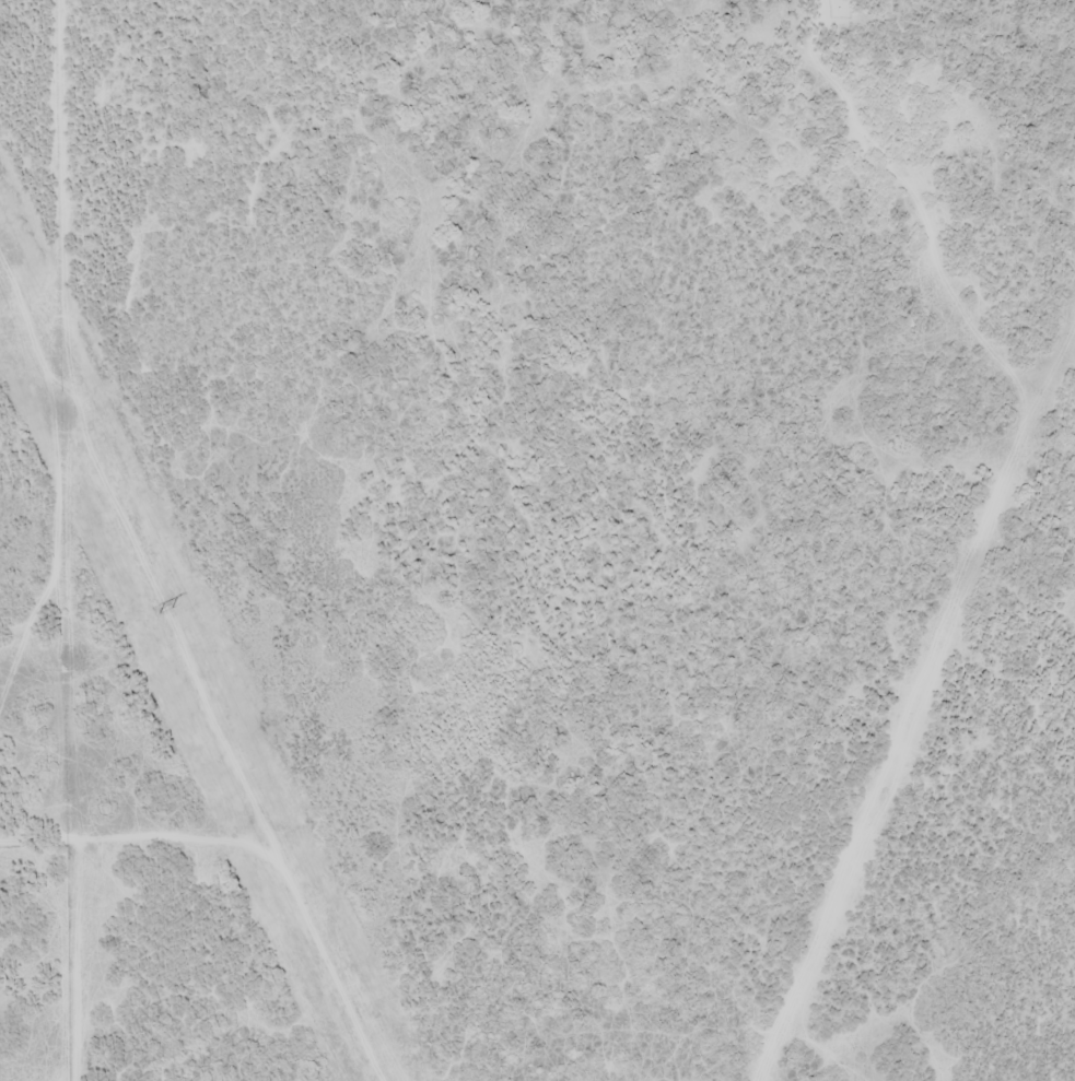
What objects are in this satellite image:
power tower: (161, 612)
road: (208, 865)

